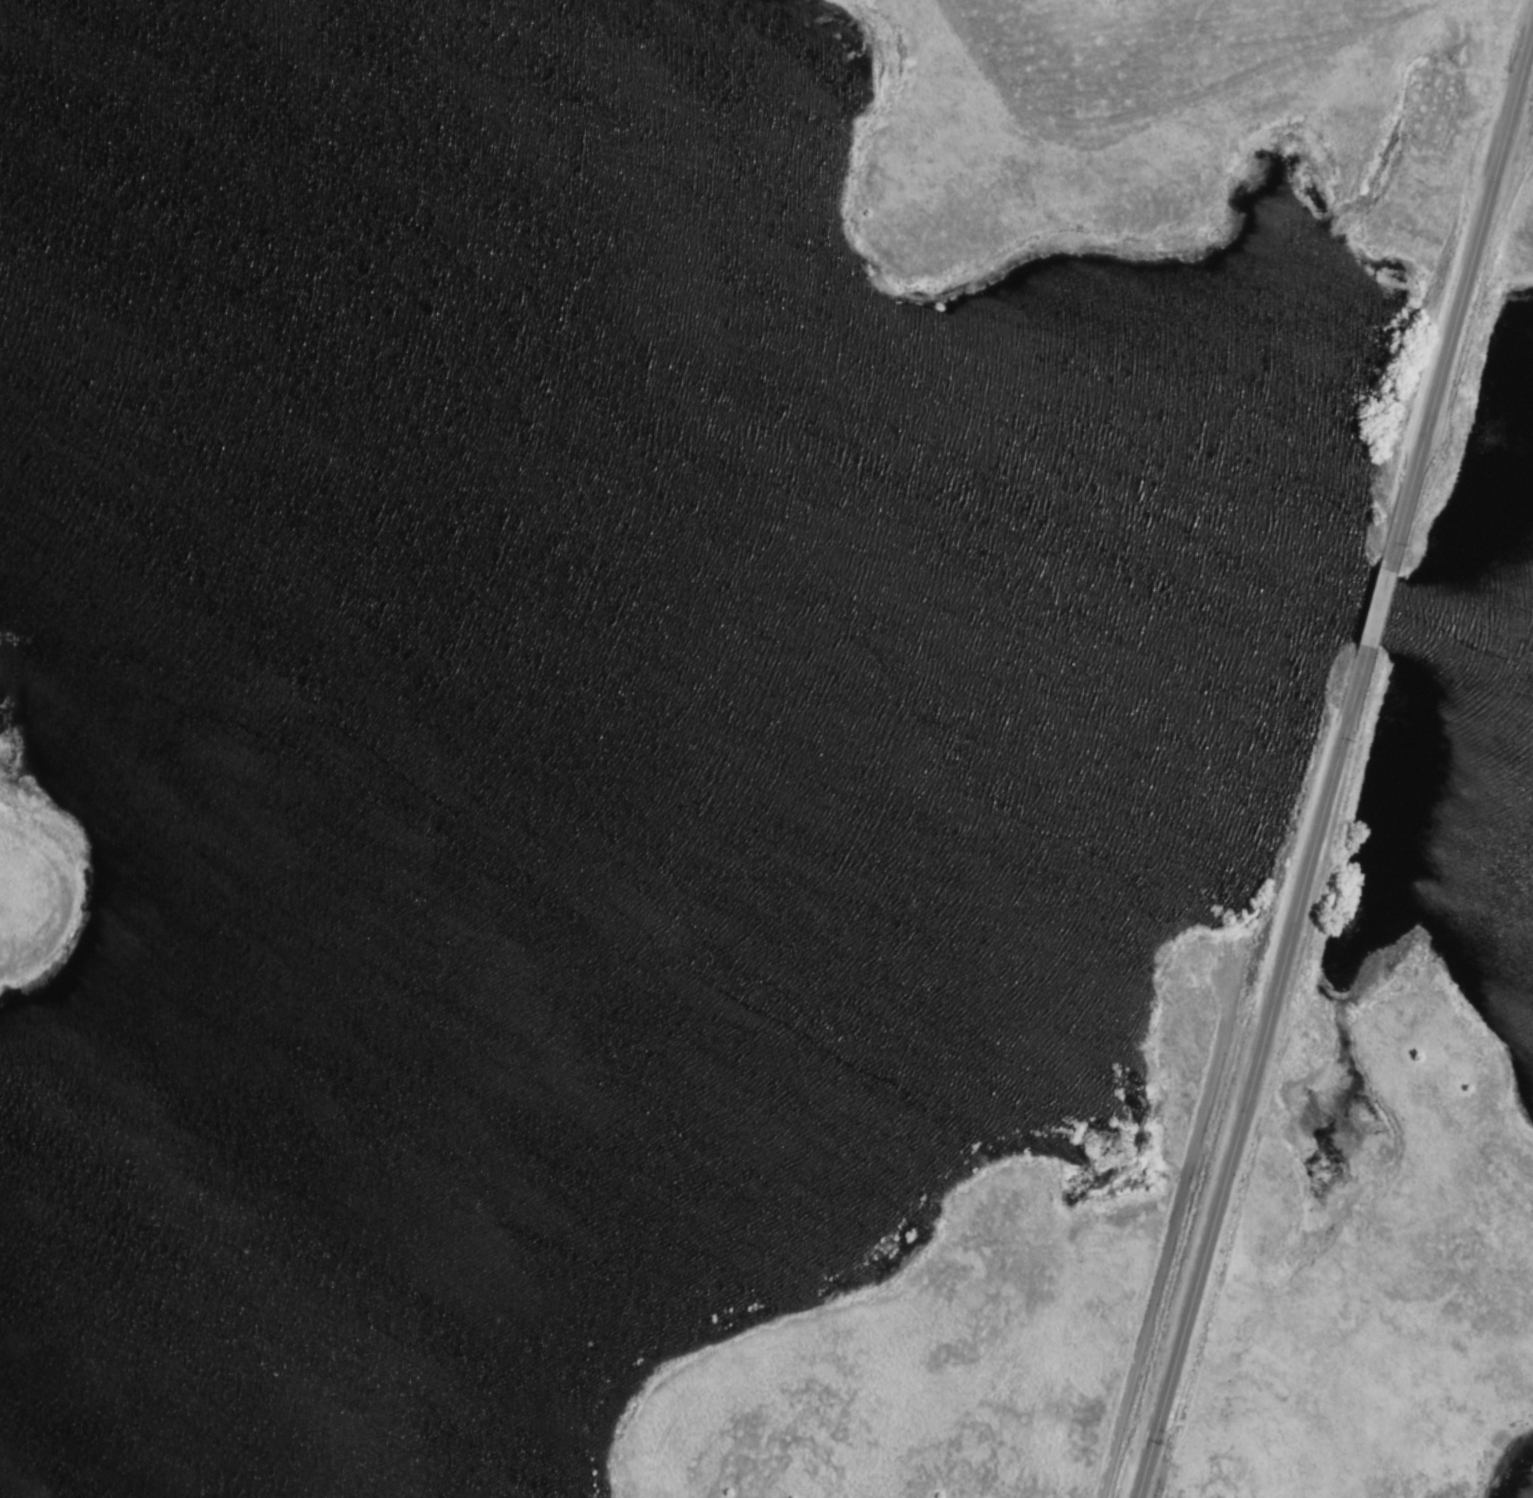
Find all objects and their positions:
road: (1467, 290)
road: (1378, 612)
road: (1251, 1080)

